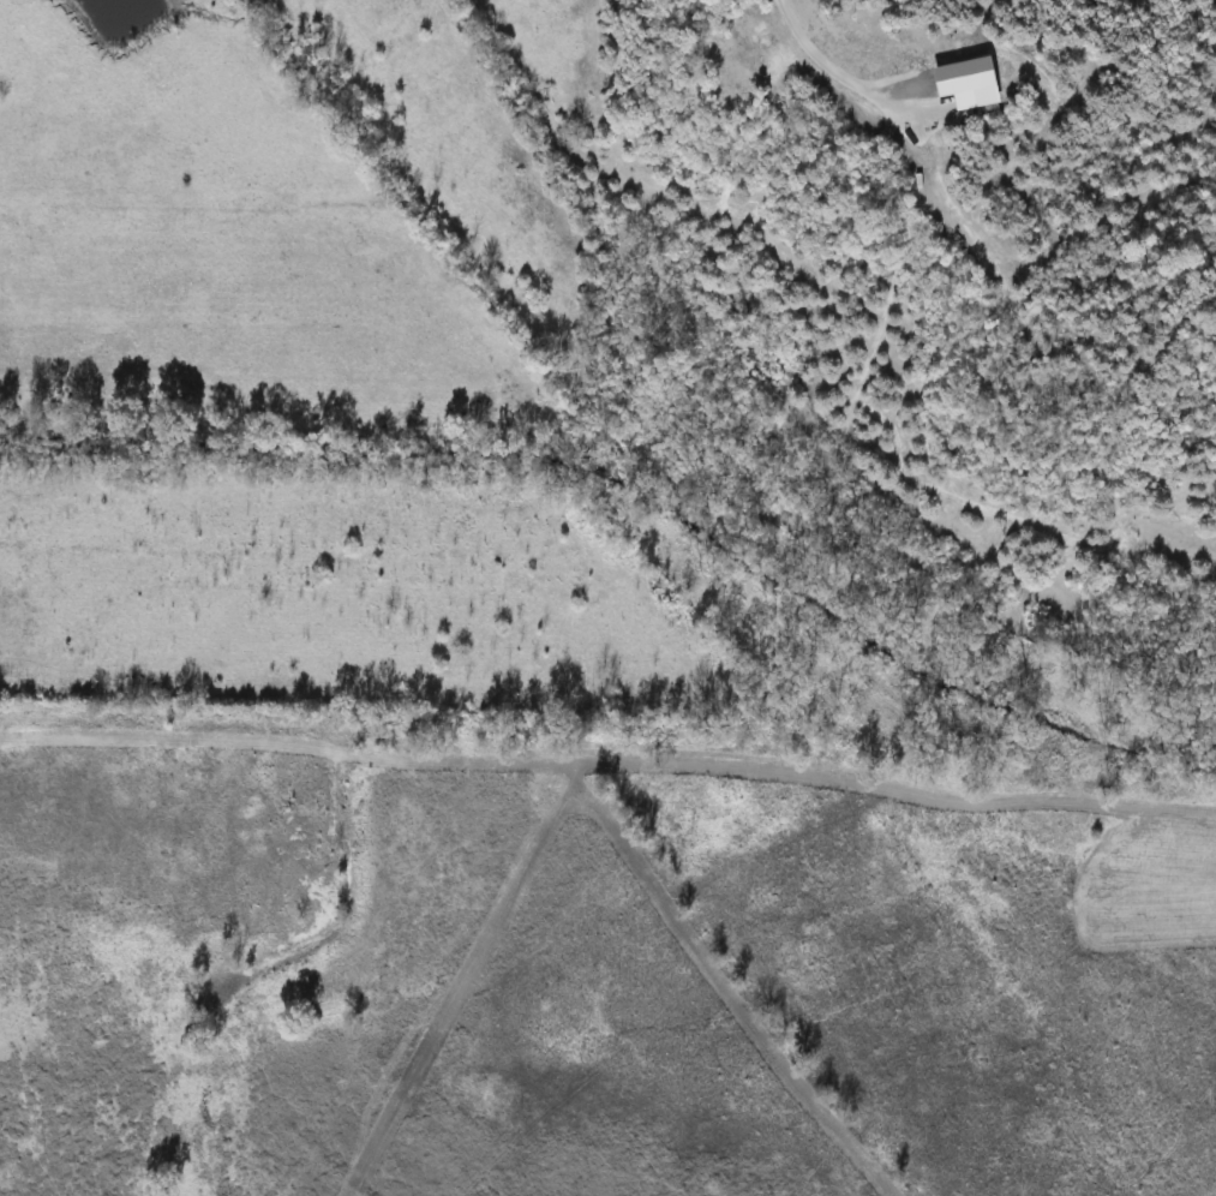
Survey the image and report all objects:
road: (833, 66)

